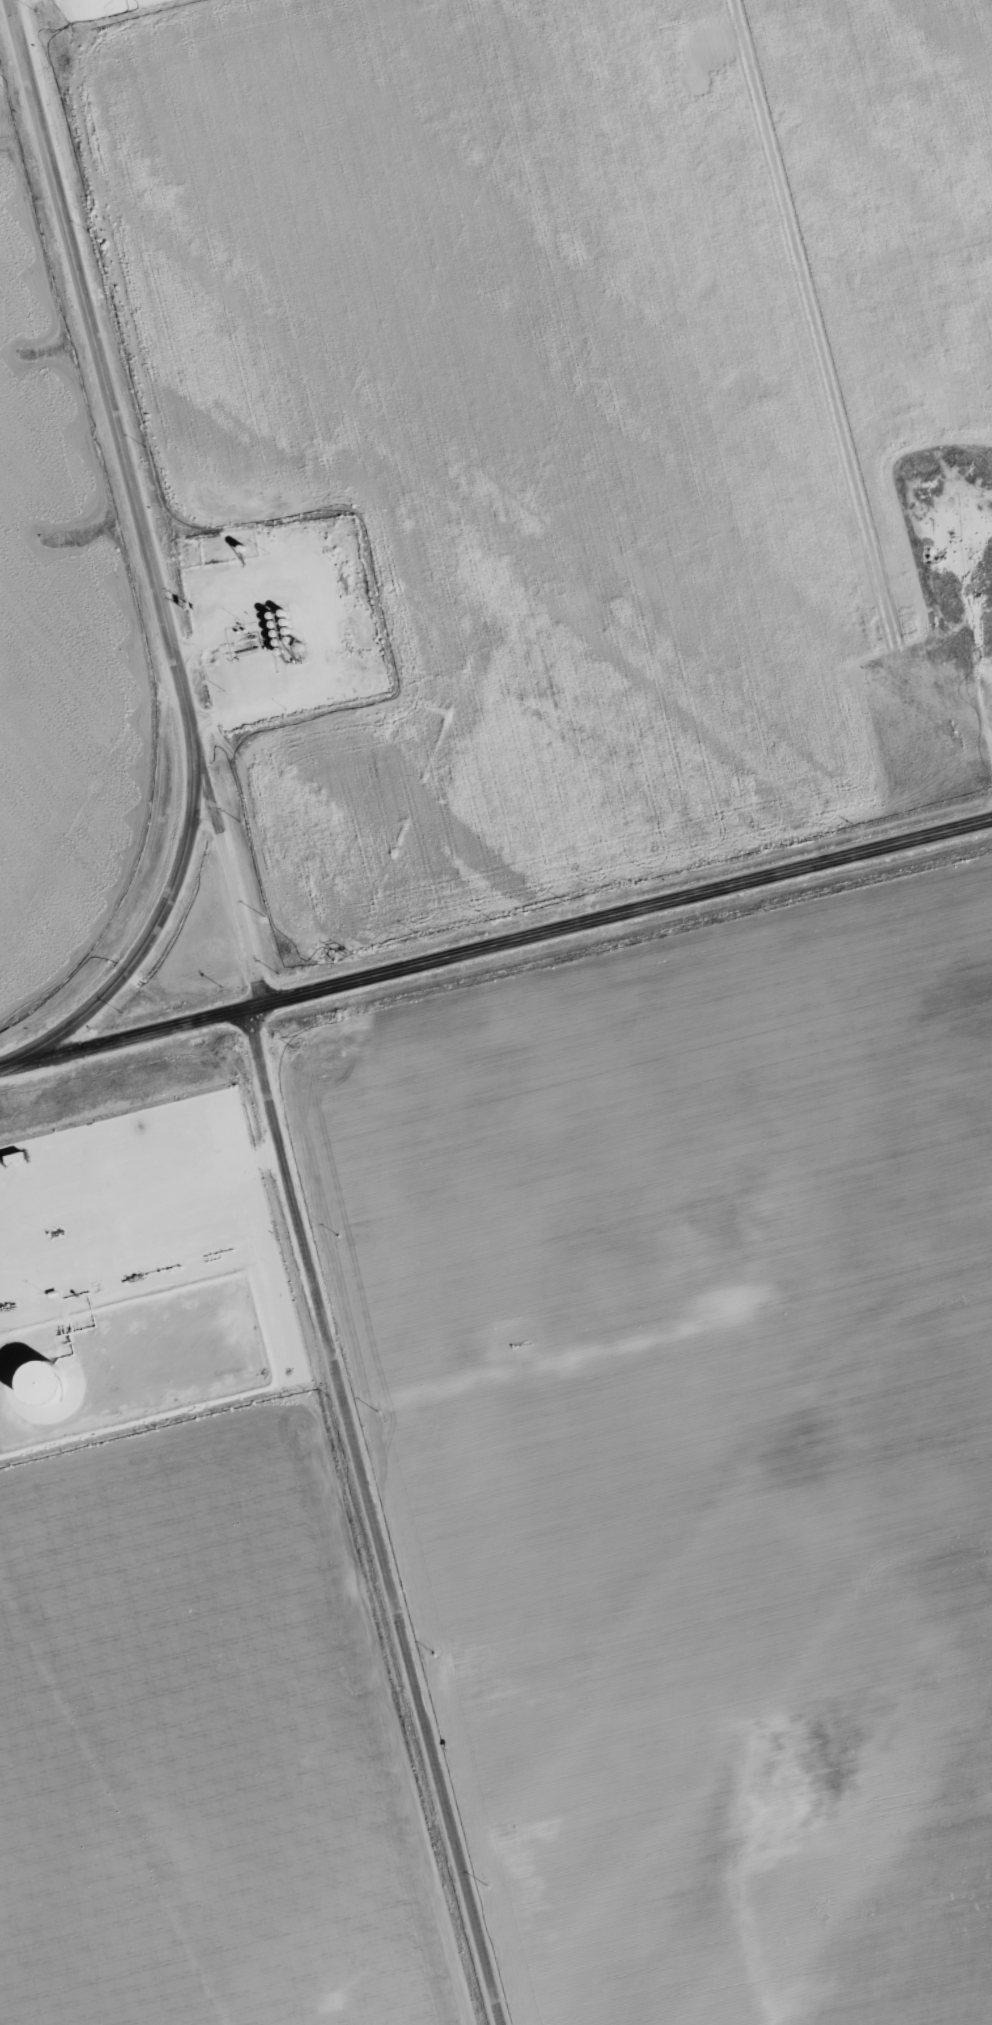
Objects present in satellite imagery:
road: (149, 566)
road: (228, 877)
road: (496, 943)
road: (370, 1516)

